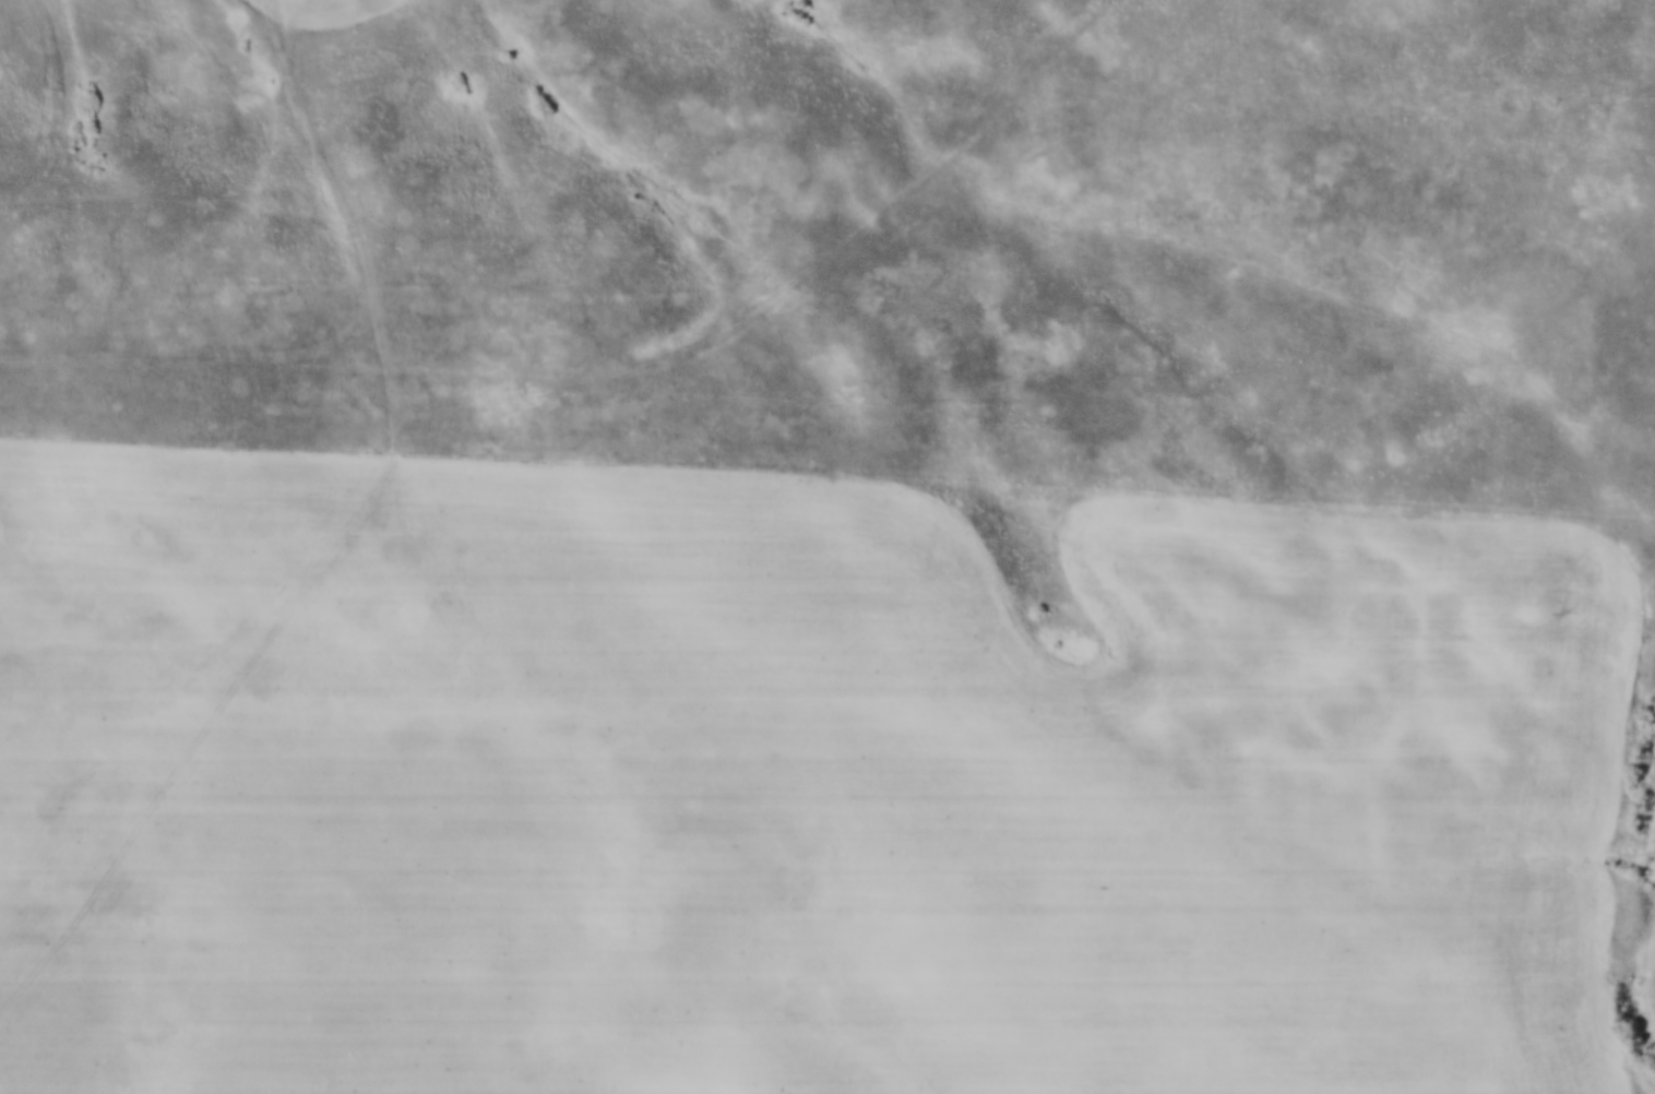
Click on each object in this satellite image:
road: (738, 329)
road: (313, 354)

